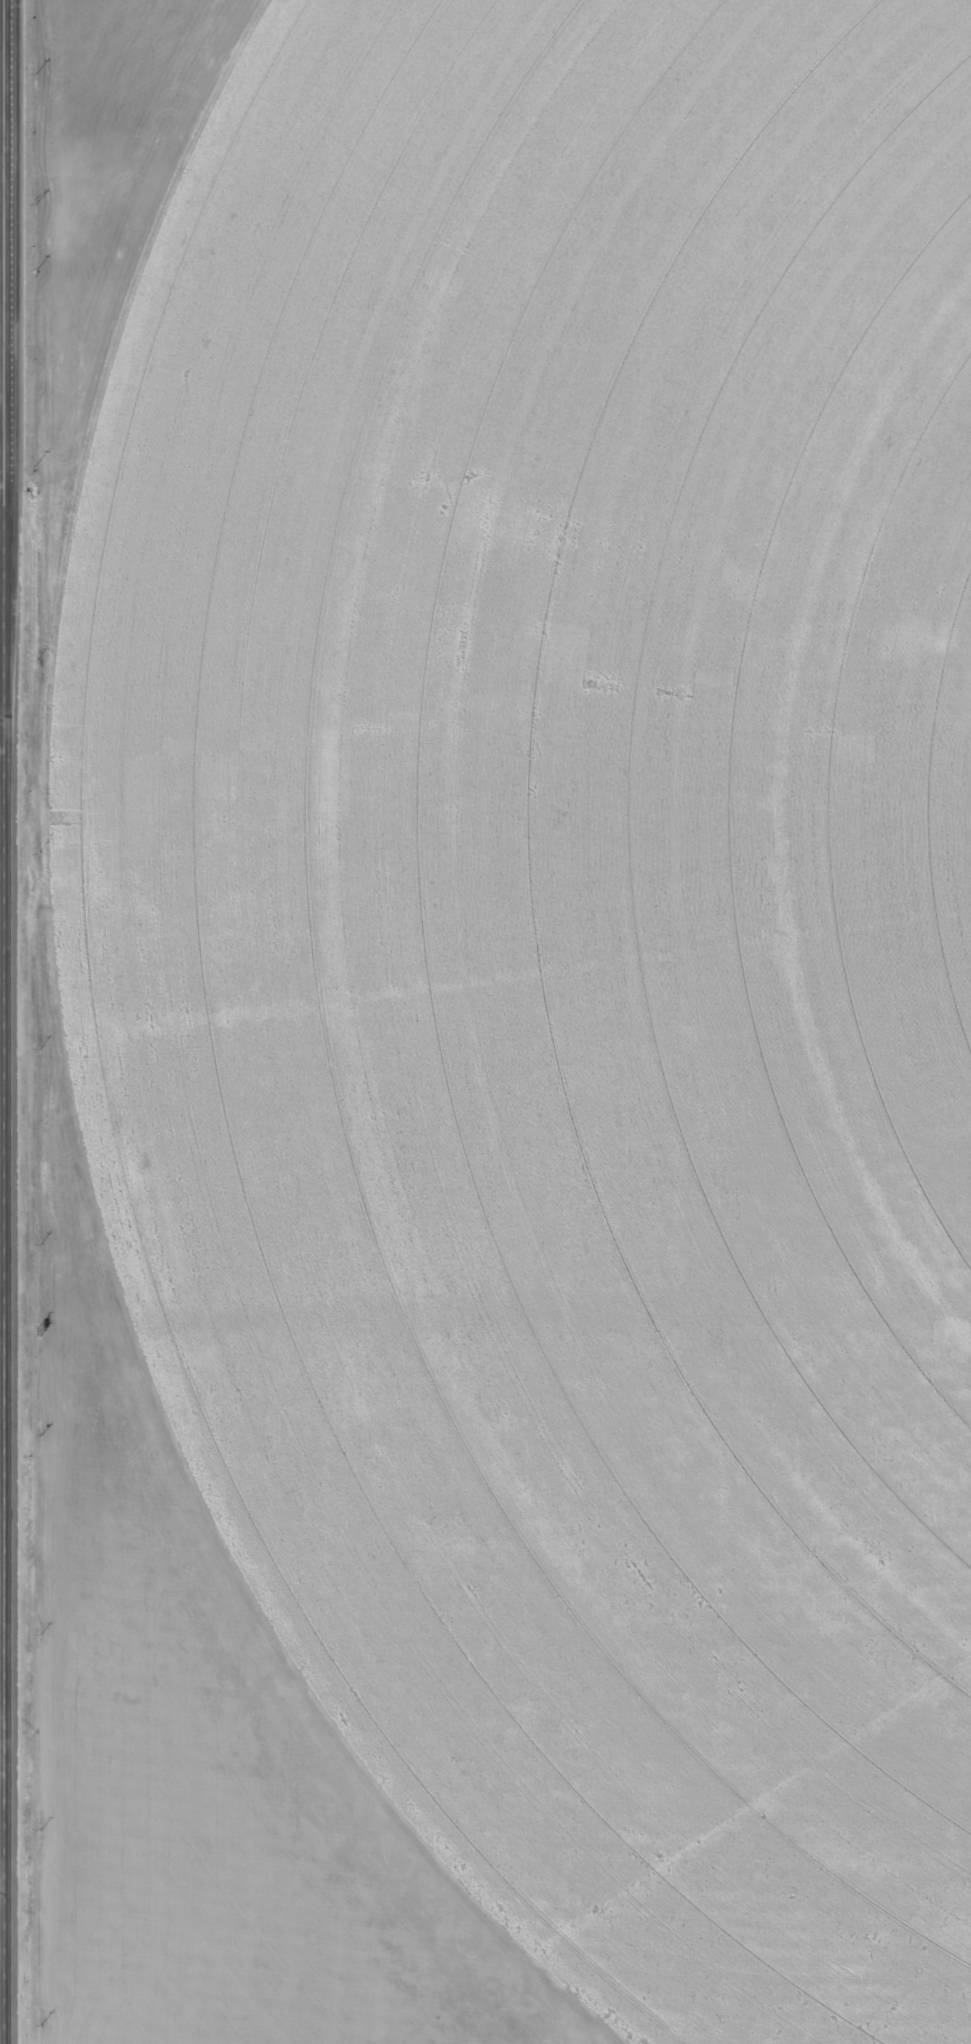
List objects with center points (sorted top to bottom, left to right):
road: (15, 1021)

